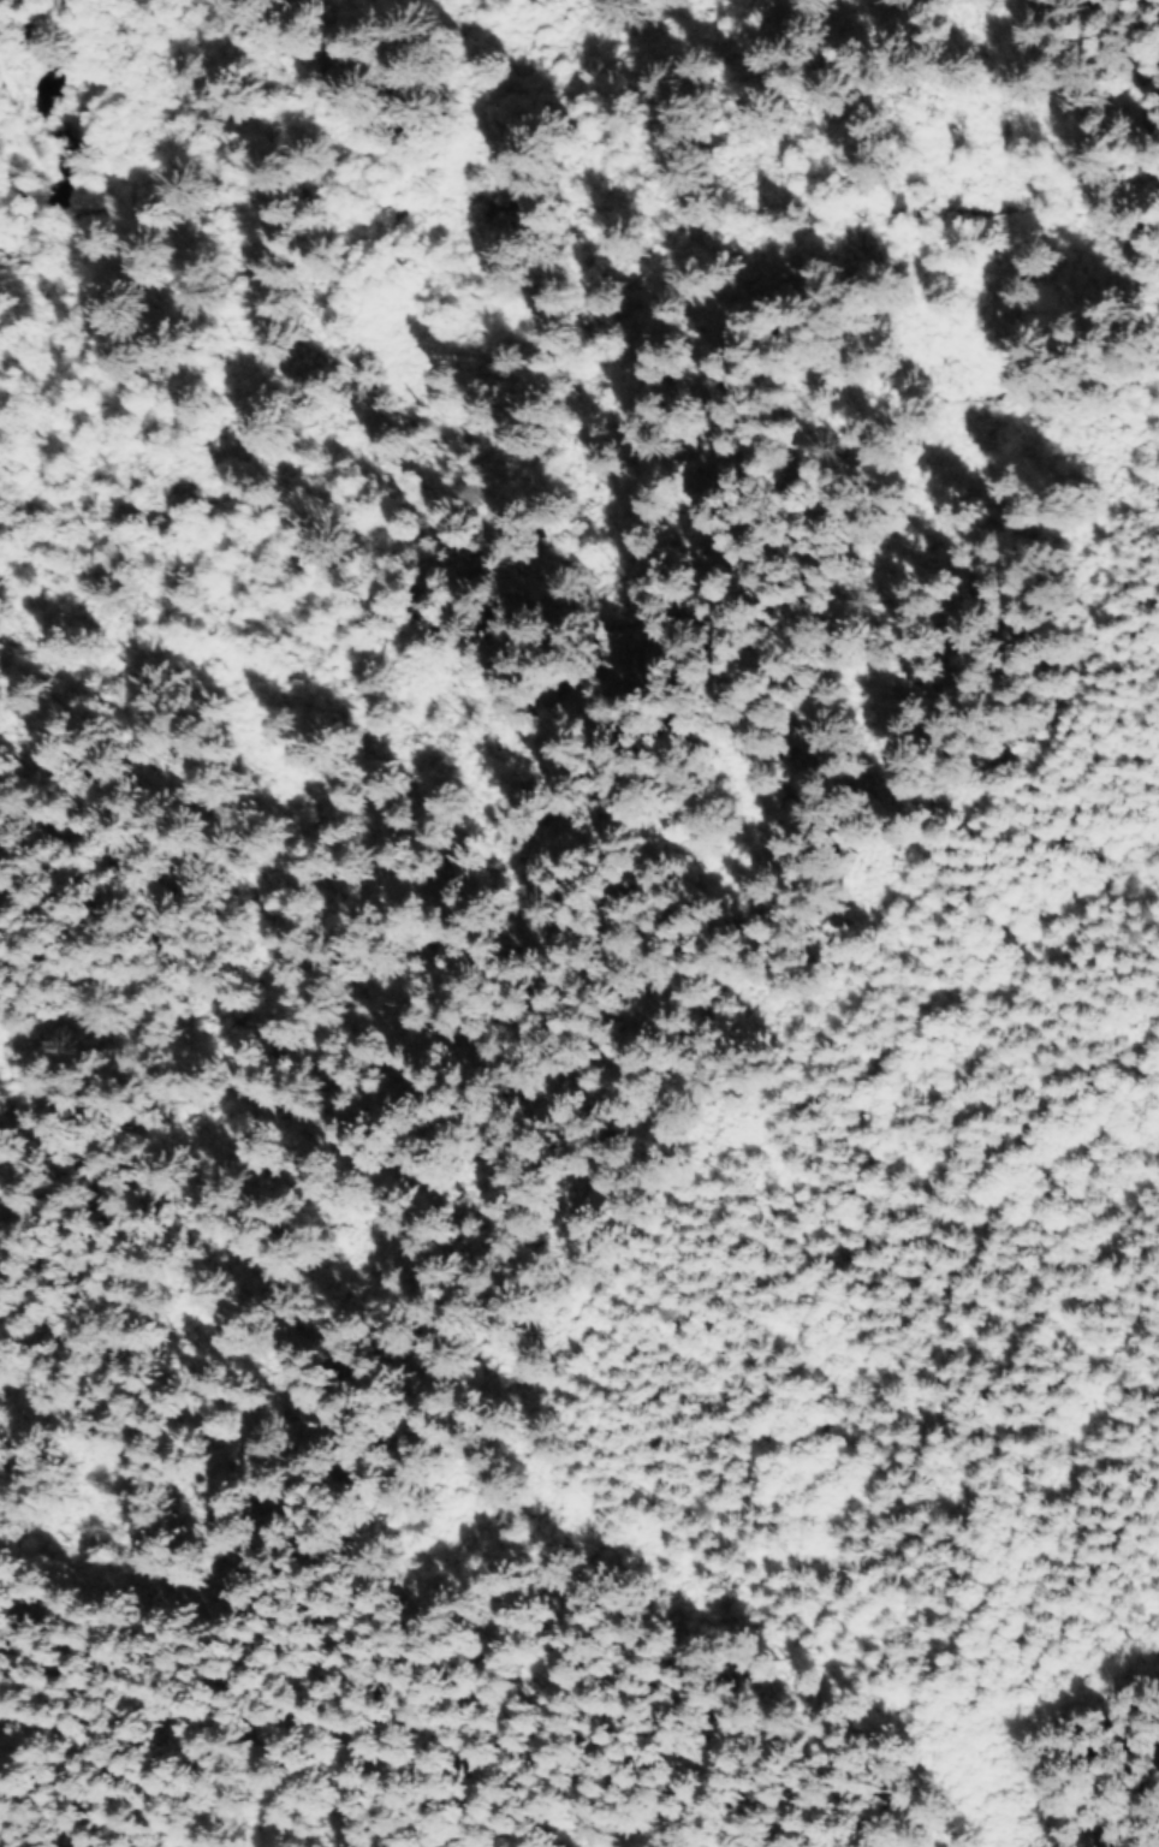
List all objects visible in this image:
road: (801, 1694)

